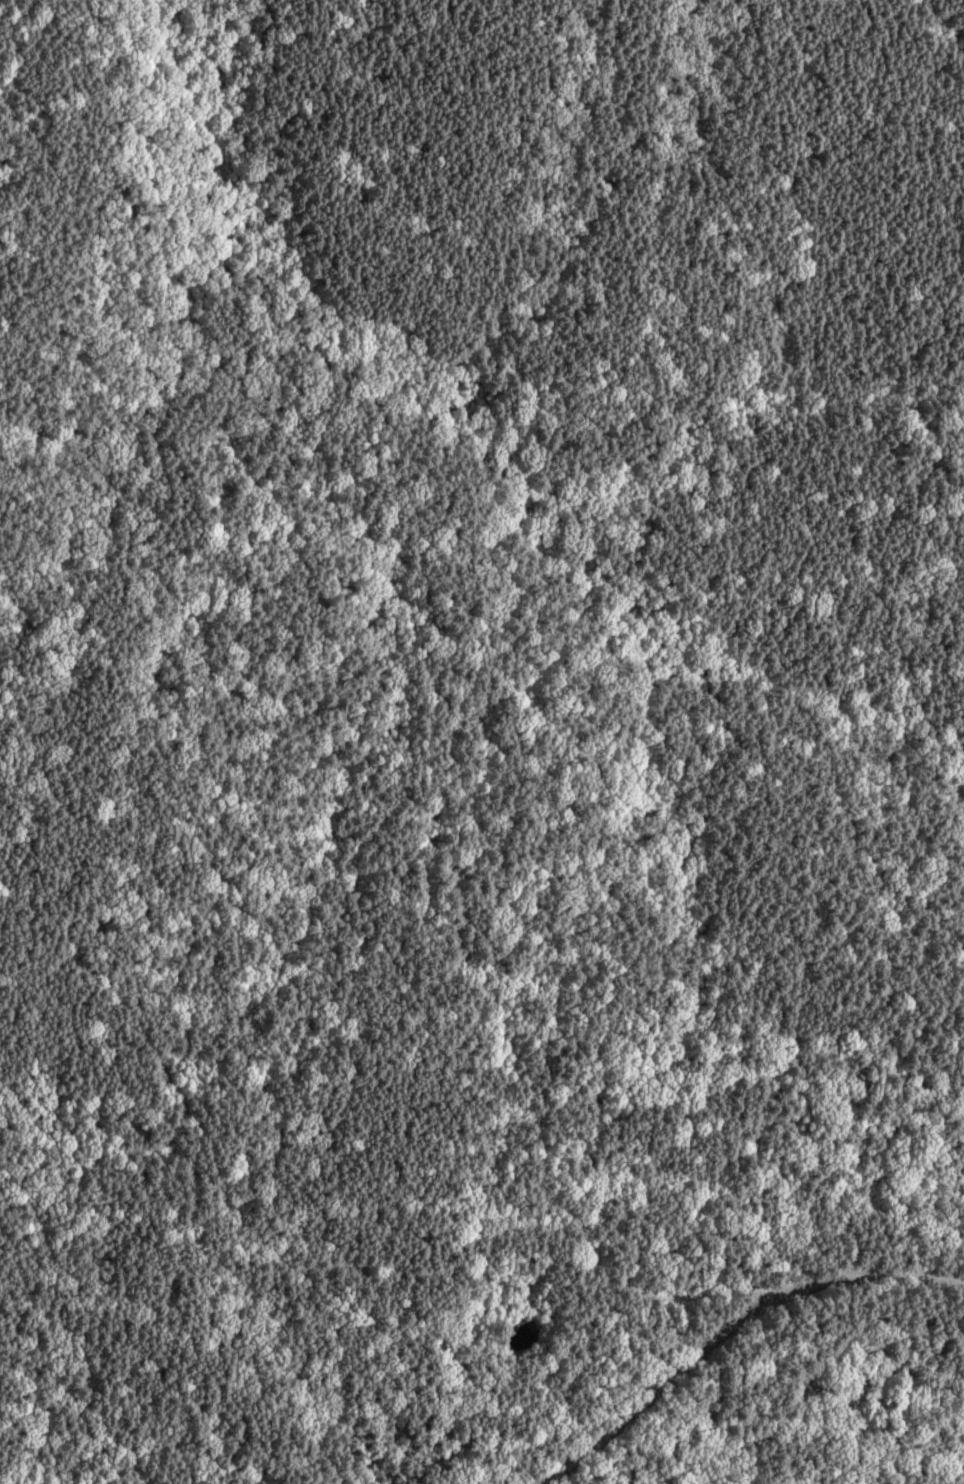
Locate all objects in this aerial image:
road: (742, 1338)

